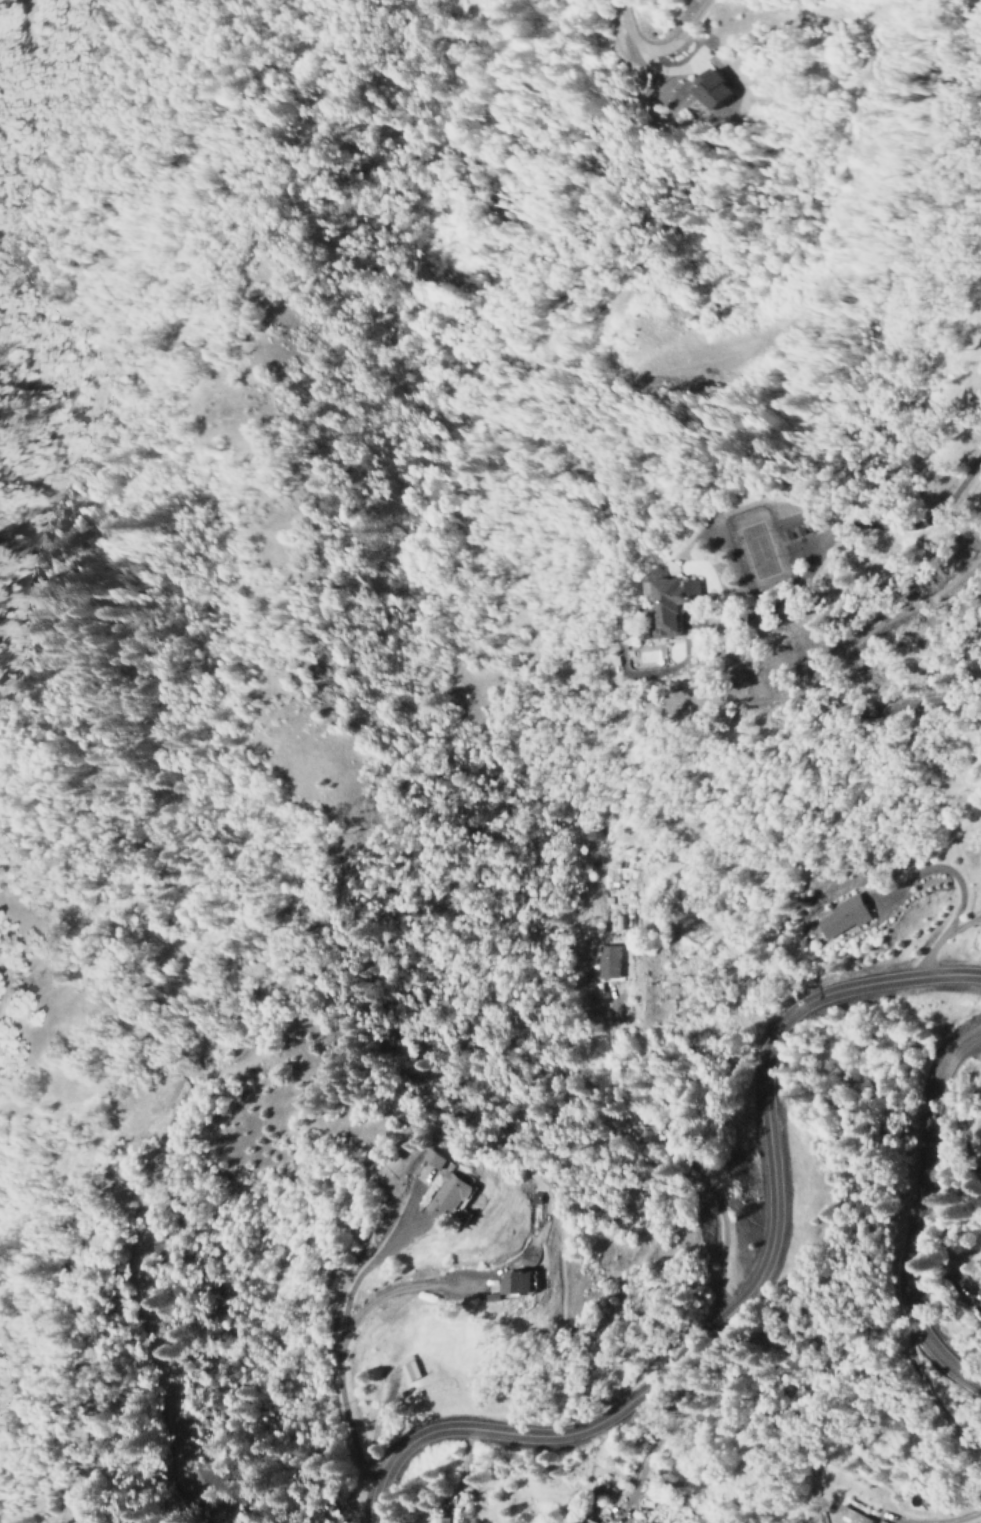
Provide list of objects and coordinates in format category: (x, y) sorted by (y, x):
road: (666, 53)
building: (716, 91)
road: (867, 146)
road: (850, 524)
building: (783, 525)
building: (659, 602)
road: (950, 874)
building: (839, 918)
road: (941, 939)
building: (612, 961)
building: (434, 1158)
building: (450, 1194)
road: (914, 1209)
building: (519, 1282)
road: (742, 1282)
road: (339, 1351)
building: (408, 1368)
road: (165, 1384)
building: (647, 1493)
building: (846, 1516)
building: (436, 1520)

